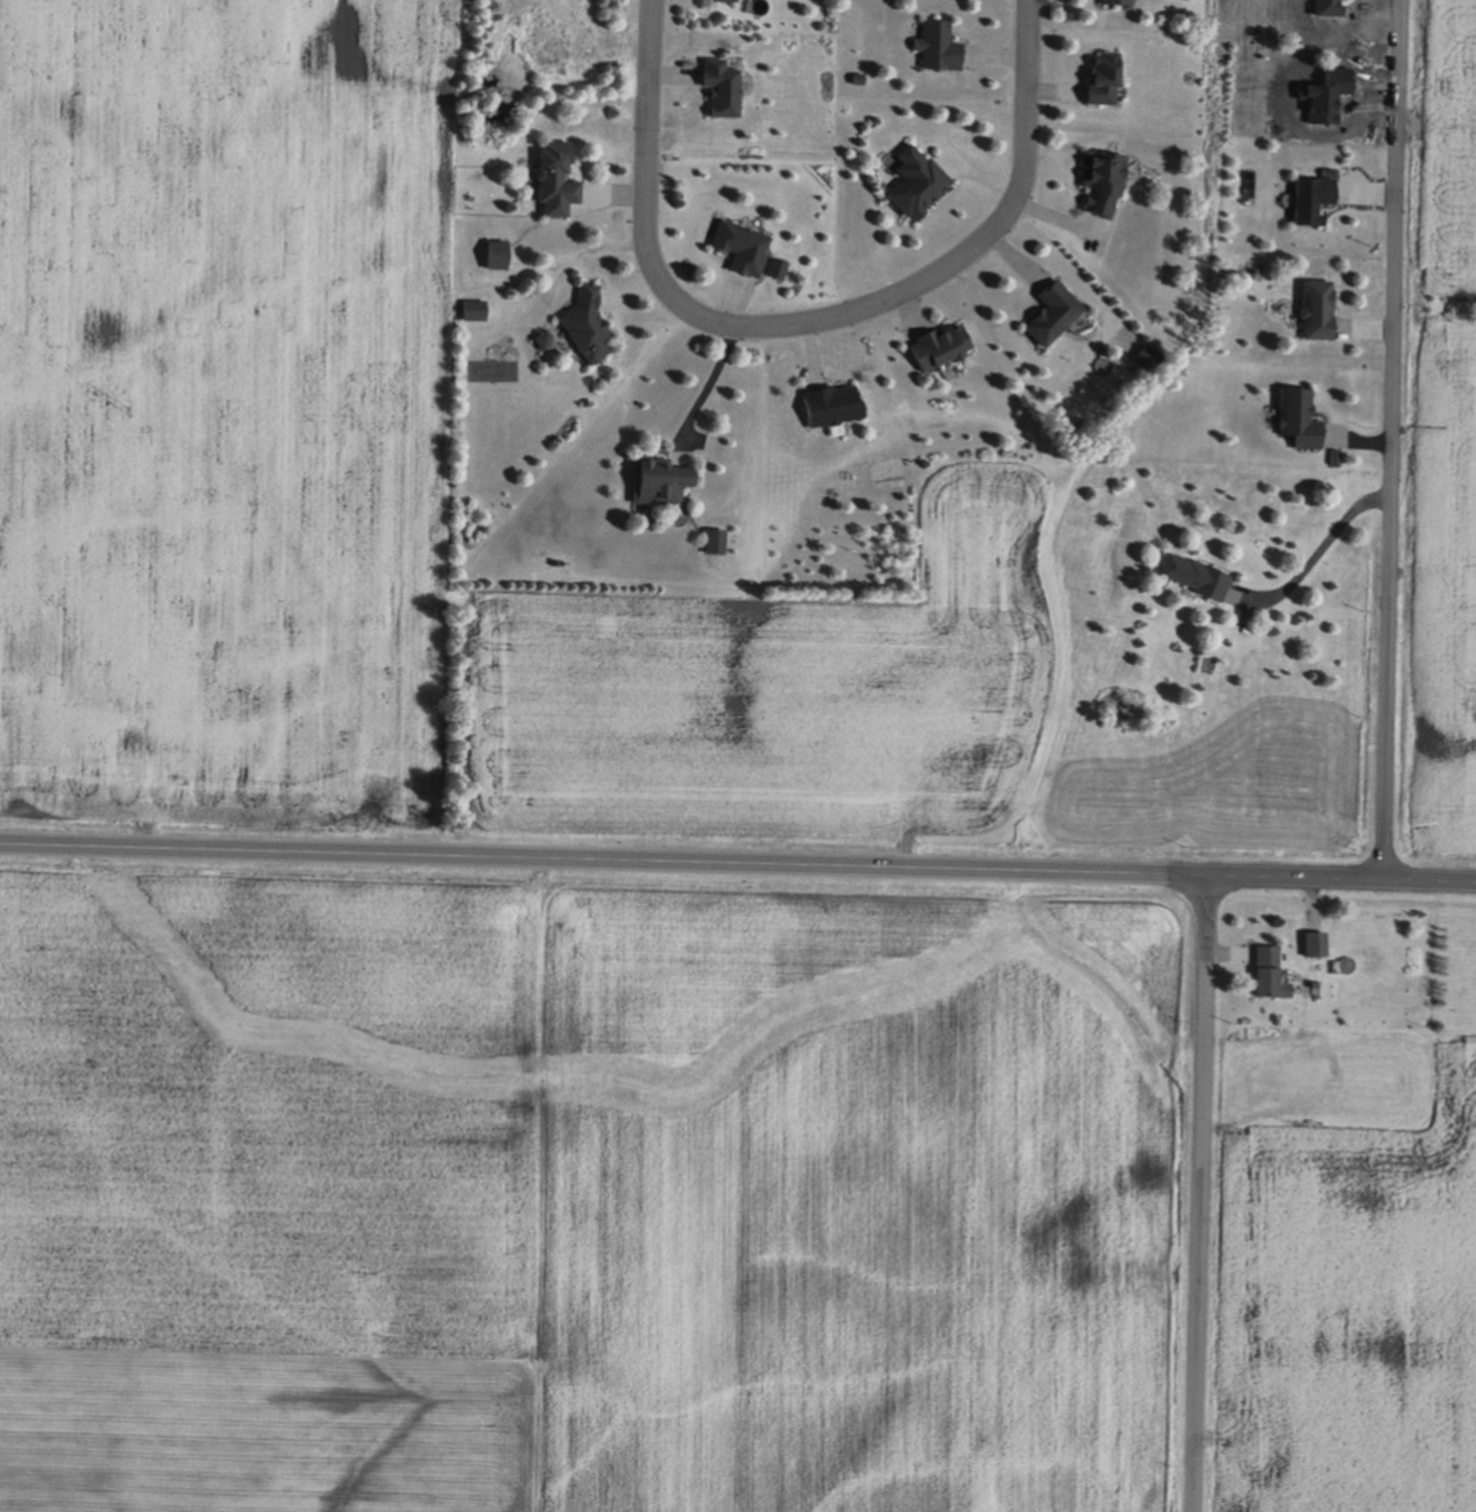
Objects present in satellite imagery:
building: (722, 0)
building: (1120, 0)
building: (937, 43)
building: (1102, 75)
road: (644, 81)
building: (554, 175)
building: (1101, 177)
building: (915, 179)
building: (1311, 196)
building: (739, 244)
building: (495, 251)
road: (886, 298)
building: (1316, 306)
building: (473, 308)
building: (1051, 309)
building: (585, 322)
building: (542, 336)
building: (938, 343)
road: (710, 376)
building: (830, 402)
building: (1297, 415)
road: (1389, 440)
building: (658, 477)
building: (714, 539)
road: (1321, 545)
building: (1193, 574)
road: (738, 863)
building: (1314, 941)
building: (1268, 971)
road: (1201, 1193)

